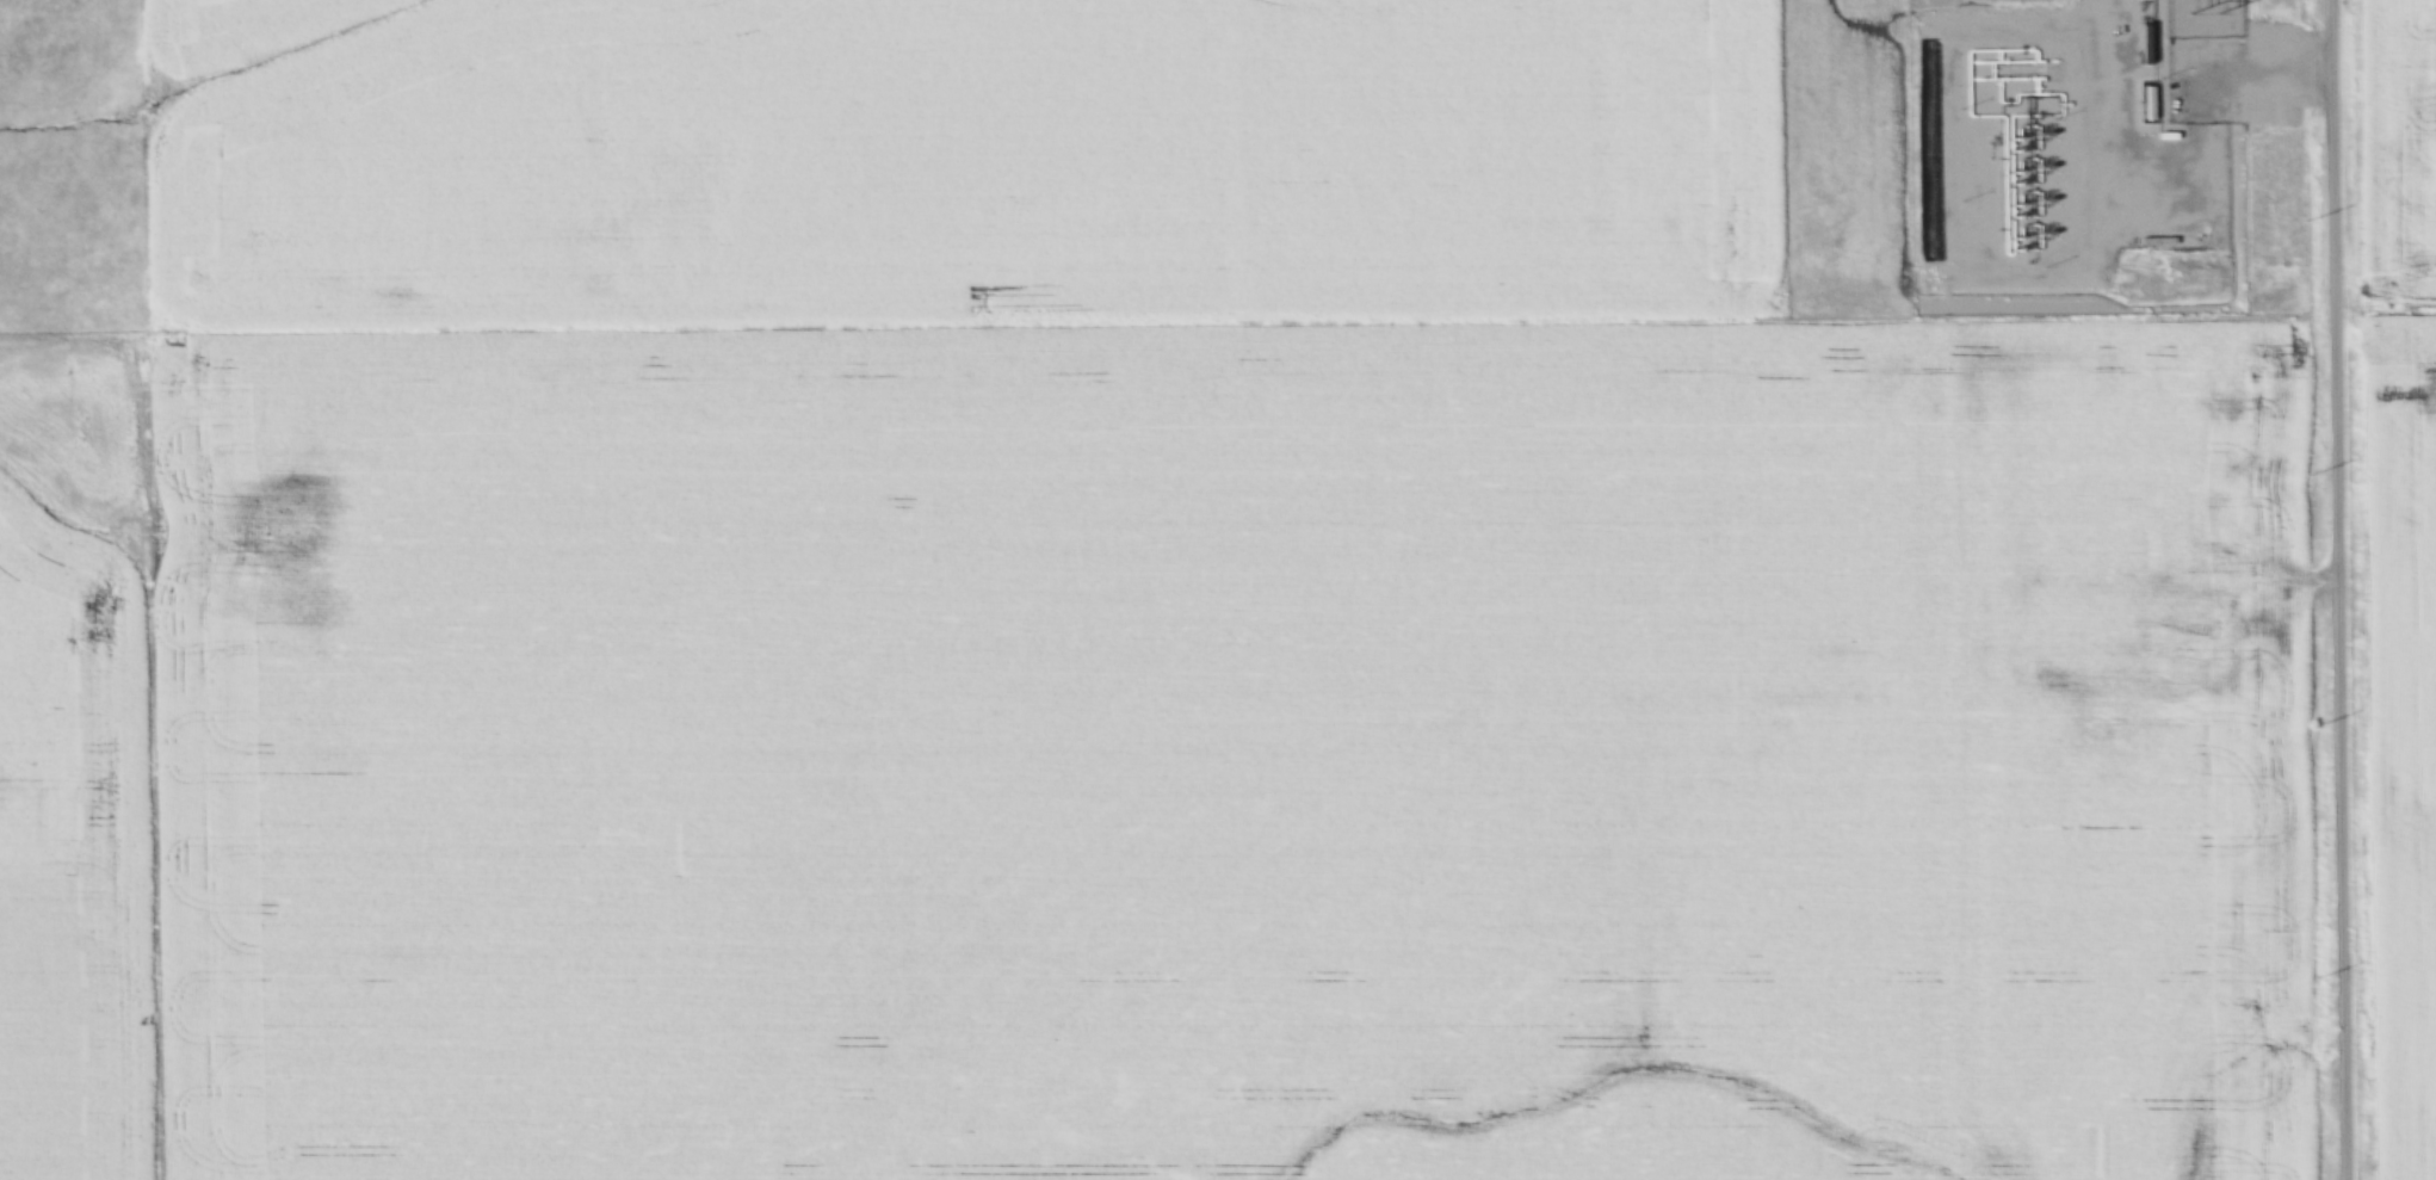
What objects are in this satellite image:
building: (2144, 0)
building: (2115, 19)
power substation: (2202, 19)
building: (2146, 45)
building: (2156, 242)
road: (2338, 589)

